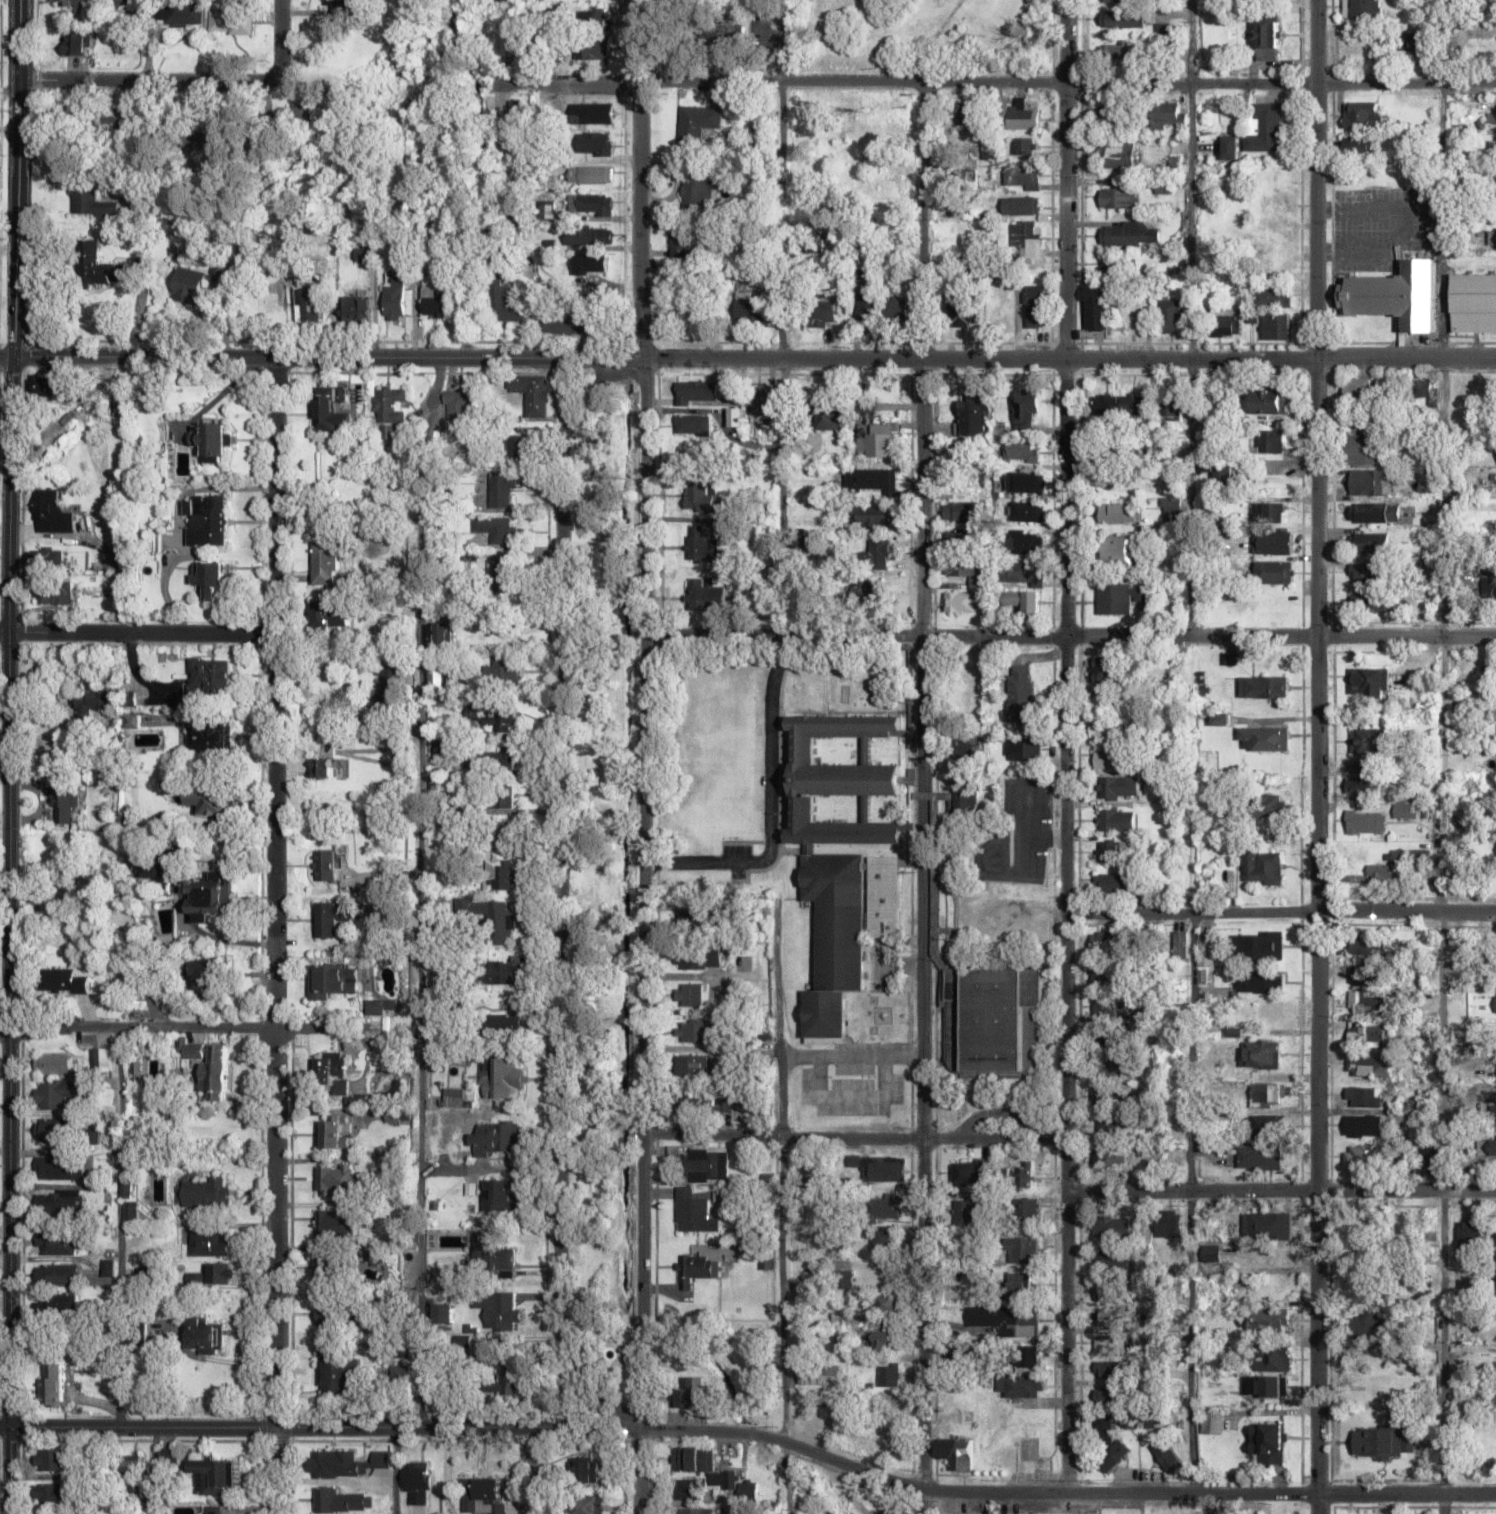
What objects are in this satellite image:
building: (1121, 0)
building: (66, 2)
building: (347, 6)
building: (1362, 8)
building: (183, 13)
building: (594, 17)
building: (1124, 19)
building: (232, 21)
building: (723, 34)
building: (1267, 37)
road: (281, 38)
building: (1415, 40)
building: (75, 41)
building: (517, 47)
building: (595, 50)
building: (1120, 52)
road: (782, 68)
road: (145, 81)
road: (992, 85)
building: (592, 113)
building: (963, 113)
building: (1021, 114)
building: (1115, 114)
building: (1362, 114)
building: (1168, 115)
building: (1492, 118)
building: (118, 122)
building: (304, 122)
building: (697, 122)
building: (518, 125)
building: (1265, 128)
building: (211, 138)
building: (595, 143)
building: (1493, 144)
building: (1230, 146)
building: (1357, 146)
building: (1021, 148)
building: (1119, 153)
building: (345, 158)
building: (590, 174)
building: (1024, 179)
road: (640, 181)
building: (697, 189)
building: (1120, 197)
building: (90, 200)
building: (590, 204)
building: (1275, 204)
building: (1021, 205)
building: (547, 209)
building: (1130, 234)
building: (594, 235)
building: (1027, 238)
building: (1492, 238)
building: (684, 242)
building: (591, 264)
building: (99, 266)
building: (1119, 266)
building: (1279, 266)
building: (189, 284)
building: (395, 294)
building: (1395, 295)
building: (1273, 297)
building: (505, 299)
building: (434, 301)
building: (311, 302)
building: (1474, 302)
building: (1036, 305)
building: (867, 307)
building: (355, 308)
building: (896, 308)
building: (683, 309)
building: (754, 309)
building: (822, 311)
building: (964, 311)
building: (1097, 312)
building: (1170, 315)
road: (1190, 318)
building: (565, 325)
building: (1223, 325)
building: (1275, 326)
traffic signals: (11, 359)
road: (320, 360)
road: (1067, 360)
building: (44, 387)
building: (1358, 387)
building: (1424, 387)
building: (1490, 389)
building: (531, 392)
building: (696, 394)
building: (1269, 401)
building: (460, 403)
building: (1119, 403)
building: (389, 404)
building: (1169, 406)
building: (1026, 407)
building: (333, 408)
building: (974, 417)
building: (828, 419)
building: (693, 424)
building: (875, 438)
building: (214, 440)
building: (1360, 440)
building: (1270, 441)
building: (520, 449)
building: (957, 451)
building: (1023, 452)
building: (1222, 474)
building: (871, 480)
building: (964, 480)
building: (1367, 480)
building: (1021, 482)
building: (501, 488)
building: (702, 497)
building: (1027, 511)
building: (1268, 511)
building: (52, 512)
building: (961, 512)
building: (1118, 512)
building: (1370, 514)
building: (870, 515)
building: (207, 519)
building: (496, 528)
building: (962, 538)
building: (1273, 542)
building: (1369, 542)
building: (1022, 543)
building: (702, 545)
building: (1118, 549)
building: (879, 554)
building: (46, 559)
building: (326, 562)
building: (967, 571)
building: (1273, 571)
building: (1367, 572)
building: (1022, 573)
building: (506, 575)
building: (210, 578)
building: (1489, 588)
building: (872, 591)
building: (55, 594)
building: (704, 595)
building: (1120, 597)
building: (1023, 599)
building: (961, 601)
building: (1374, 601)
building: (330, 614)
building: (440, 632)
road: (3, 634)
road: (141, 635)
road: (1069, 638)
building: (327, 656)
building: (1107, 669)
building: (500, 670)
building: (435, 676)
building: (208, 678)
building: (1368, 682)
building: (389, 683)
building: (1264, 686)
building: (1022, 692)
building: (91, 701)
building: (488, 716)
building: (1108, 728)
building: (209, 734)
building: (1263, 738)
building: (1368, 741)
road: (1065, 746)
road: (1316, 746)
building: (1024, 748)
building: (966, 752)
building: (485, 755)
road: (7, 756)
road: (1442, 756)
building: (1113, 759)
building: (325, 767)
building: (1119, 786)
building: (1363, 786)
building: (499, 796)
road: (921, 799)
building: (967, 799)
building: (62, 800)
building: (209, 800)
building: (1012, 802)
building: (1274, 804)
building: (1405, 810)
building: (1118, 819)
building: (1364, 822)
building: (500, 833)
building: (1114, 851)
building: (843, 855)
building: (1412, 855)
building: (1001, 858)
building: (1021, 858)
building: (326, 864)
building: (1264, 867)
building: (150, 870)
building: (1382, 872)
building: (502, 875)
building: (1112, 882)
park: (602, 886)
road: (559, 889)
road: (418, 894)
building: (57, 895)
building: (211, 895)
road: (1280, 912)
building: (491, 916)
building: (332, 917)
building: (694, 921)
road: (774, 936)
road: (274, 937)
road: (642, 938)
building: (1110, 942)
building: (1367, 943)
building: (1179, 944)
building: (1258, 946)
building: (1206, 953)
building: (698, 957)
building: (503, 972)
building: (207, 974)
building: (1365, 975)
building: (1109, 976)
building: (332, 980)
building: (62, 981)
building: (1257, 982)
building: (689, 994)
building: (1364, 1003)
building: (1495, 1004)
building: (1112, 1006)
building: (988, 1018)
building: (504, 1019)
road: (136, 1028)
road: (346, 1029)
building: (694, 1031)
building: (1365, 1036)
building: (1115, 1038)
building: (194, 1050)
building: (1265, 1054)
building: (102, 1058)
building: (56, 1063)
building: (691, 1064)
building: (1365, 1066)
building: (215, 1068)
building: (1112, 1068)
building: (481, 1072)
building: (507, 1077)
building: (337, 1078)
building: (57, 1093)
building: (1273, 1094)
building: (1110, 1096)
building: (1363, 1097)
building: (704, 1104)
building: (1495, 1114)
building: (1105, 1125)
building: (1267, 1125)
building: (1363, 1125)
building: (55, 1129)
building: (334, 1131)
building: (91, 1134)
road: (853, 1138)
building: (496, 1139)
building: (1488, 1146)
building: (1361, 1155)
building: (1110, 1158)
building: (1254, 1158)
building: (1427, 1158)
building: (60, 1167)
building: (880, 1167)
building: (967, 1172)
building: (1024, 1177)
building: (336, 1179)
road: (1281, 1190)
building: (207, 1193)
building: (499, 1195)
building: (59, 1202)
road: (1189, 1203)
building: (881, 1207)
building: (1028, 1208)
building: (131, 1210)
building: (965, 1212)
building: (336, 1223)
building: (1169, 1224)
building: (1107, 1227)
building: (1258, 1228)
road: (119, 1229)
building: (1471, 1233)
building: (886, 1240)
building: (56, 1243)
building: (211, 1243)
building: (1022, 1249)
building: (493, 1256)
building: (1109, 1257)
building: (108, 1267)
building: (698, 1267)
building: (975, 1267)
building: (328, 1269)
building: (215, 1273)
building: (57, 1274)
building: (441, 1277)
building: (844, 1279)
building: (1020, 1281)
building: (887, 1303)
building: (57, 1304)
building: (1111, 1304)
building: (500, 1310)
building: (443, 1313)
building: (343, 1314)
building: (1006, 1319)
building: (1270, 1319)
building: (1365, 1324)
building: (206, 1335)
building: (884, 1340)
building: (1111, 1343)
building: (832, 1344)
building: (469, 1347)
fountain: (608, 1353)
building: (1027, 1356)
building: (1273, 1358)
building: (1108, 1369)
building: (818, 1374)
building: (889, 1374)
building: (337, 1375)
building: (505, 1380)
building: (52, 1384)
building: (1263, 1385)
building: (1024, 1390)
building: (690, 1392)
building: (1110, 1395)
building: (886, 1403)
building: (1138, 1420)
building: (1213, 1420)
building: (1102, 1427)
traffic signals: (10, 1428)
road: (138, 1429)
building: (1381, 1441)
building: (1269, 1442)
building: (957, 1453)
building: (169, 1455)
building: (1165, 1455)
building: (50, 1459)
building: (345, 1463)
building: (703, 1465)
building: (132, 1470)
building: (586, 1470)
road: (153, 1471)
road: (396, 1471)
building: (215, 1474)
building: (418, 1475)
road: (884, 1478)
building: (687, 1489)
building: (747, 1489)
building: (49, 1495)
building: (484, 1495)
building: (328, 1499)
building: (585, 1504)
road: (1318, 1504)
building: (695, 1510)

